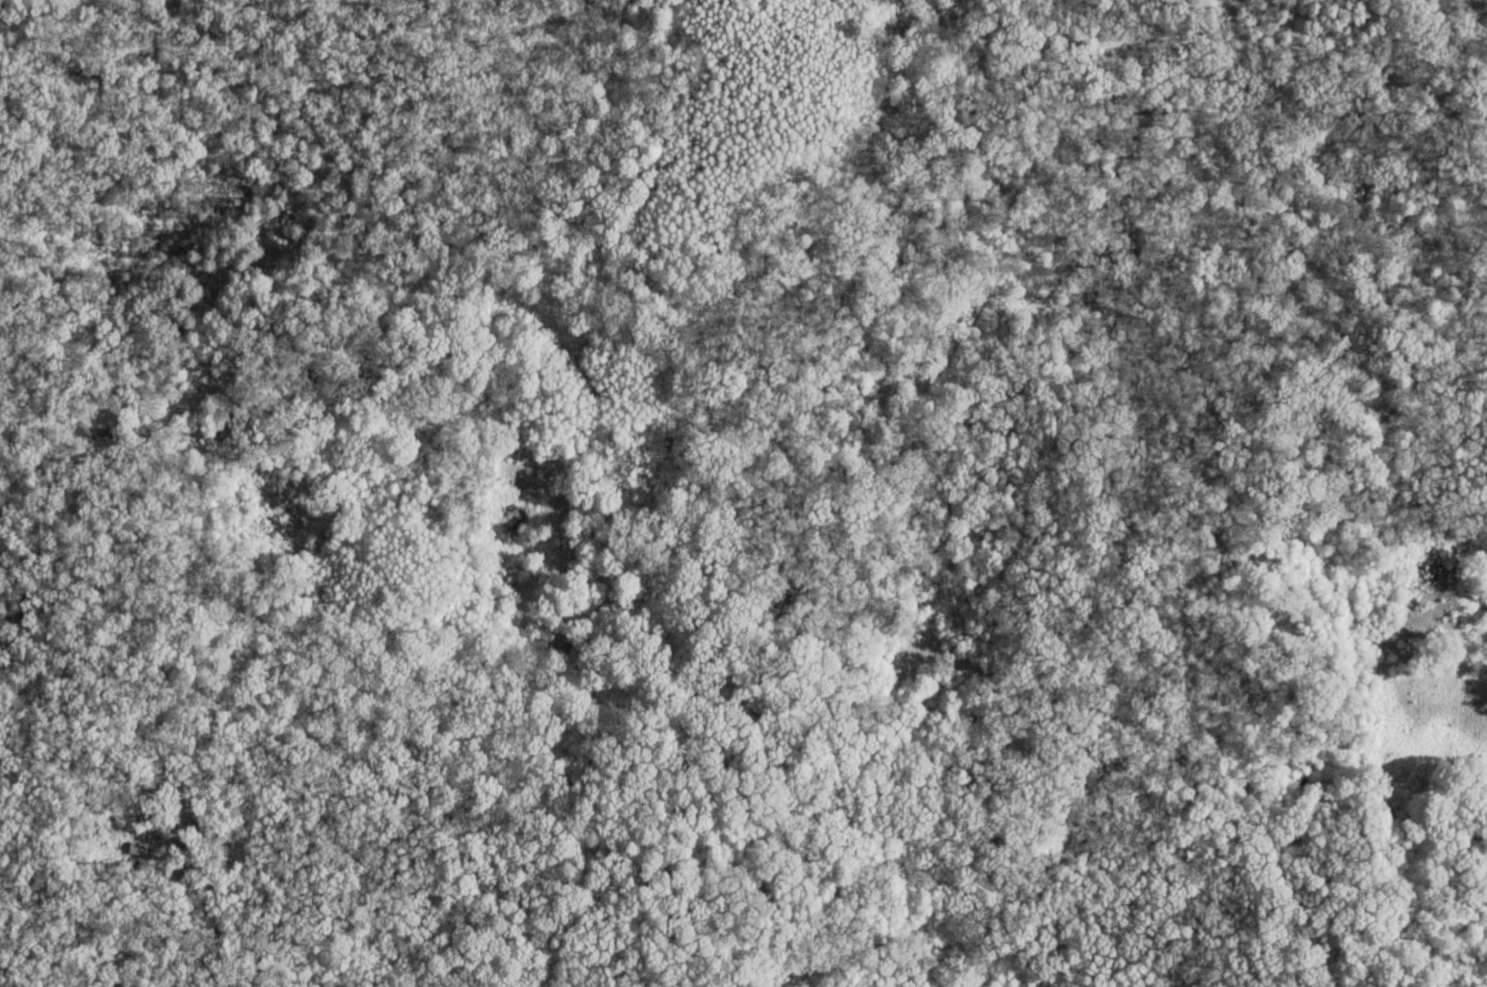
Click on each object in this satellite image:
road: (1323, 97)
road: (919, 397)
park: (1088, 877)

